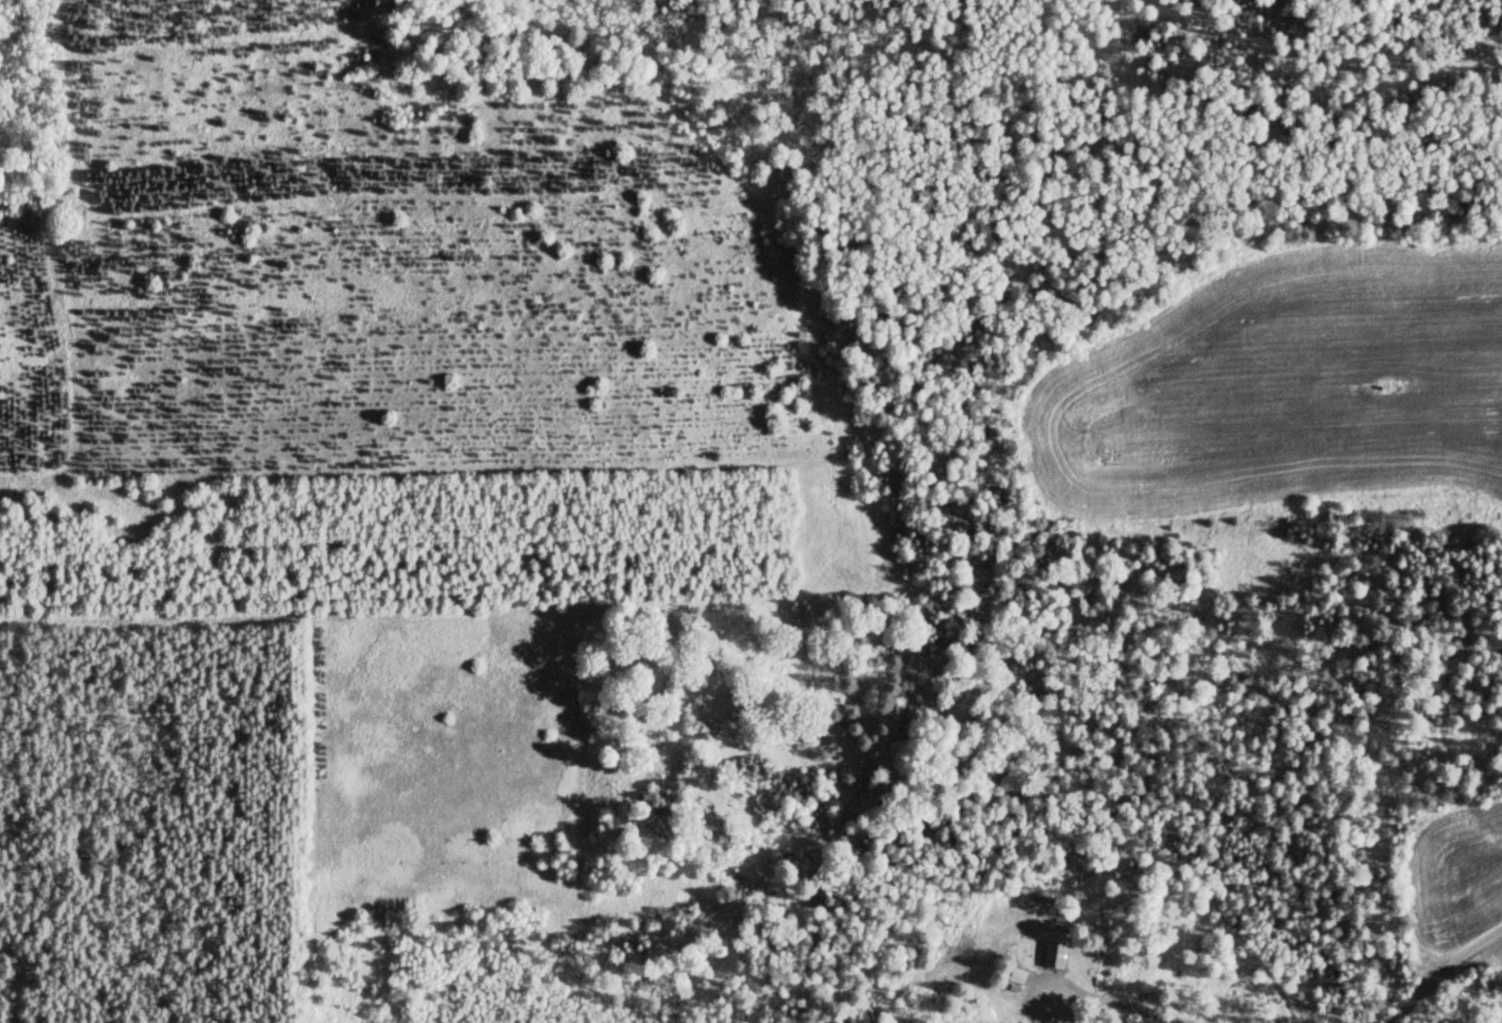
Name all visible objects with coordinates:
building: (1042, 912)
building: (1052, 952)

